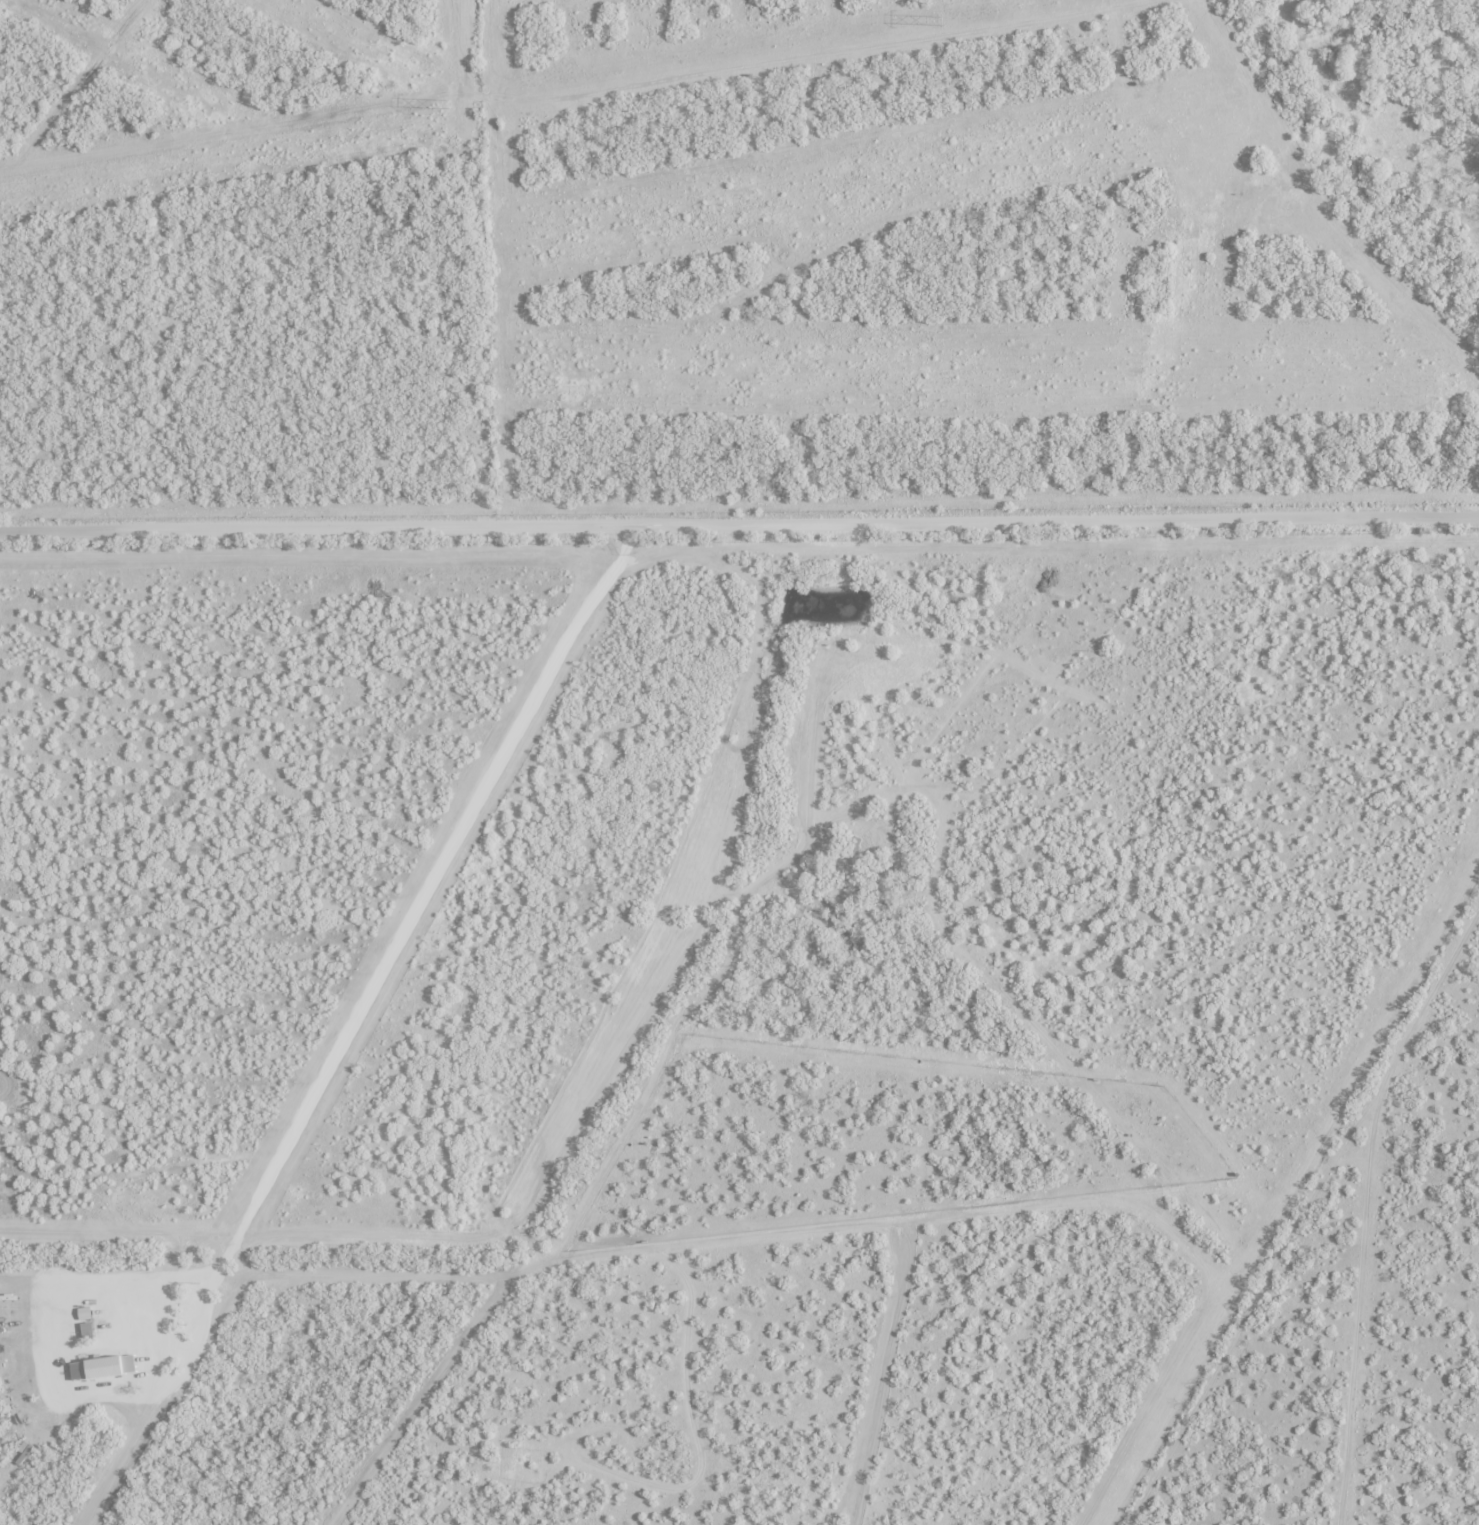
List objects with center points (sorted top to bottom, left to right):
power tower: (940, 22)
power tower: (447, 104)
road: (739, 524)
road: (565, 651)
road: (327, 1068)
building: (138, 1306)

